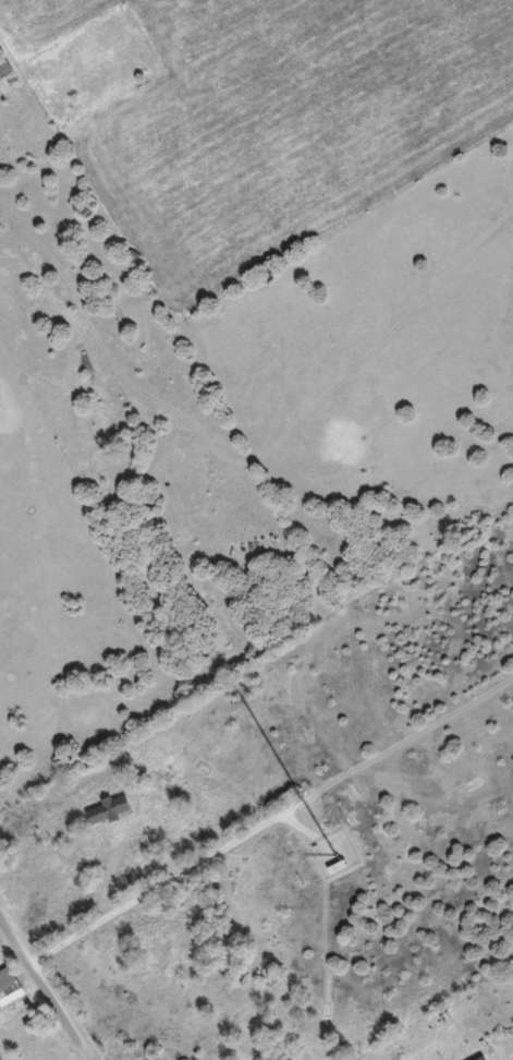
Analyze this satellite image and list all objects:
building: (3, 69)
building: (103, 810)
building: (333, 869)
building: (5, 983)
road: (45, 989)

